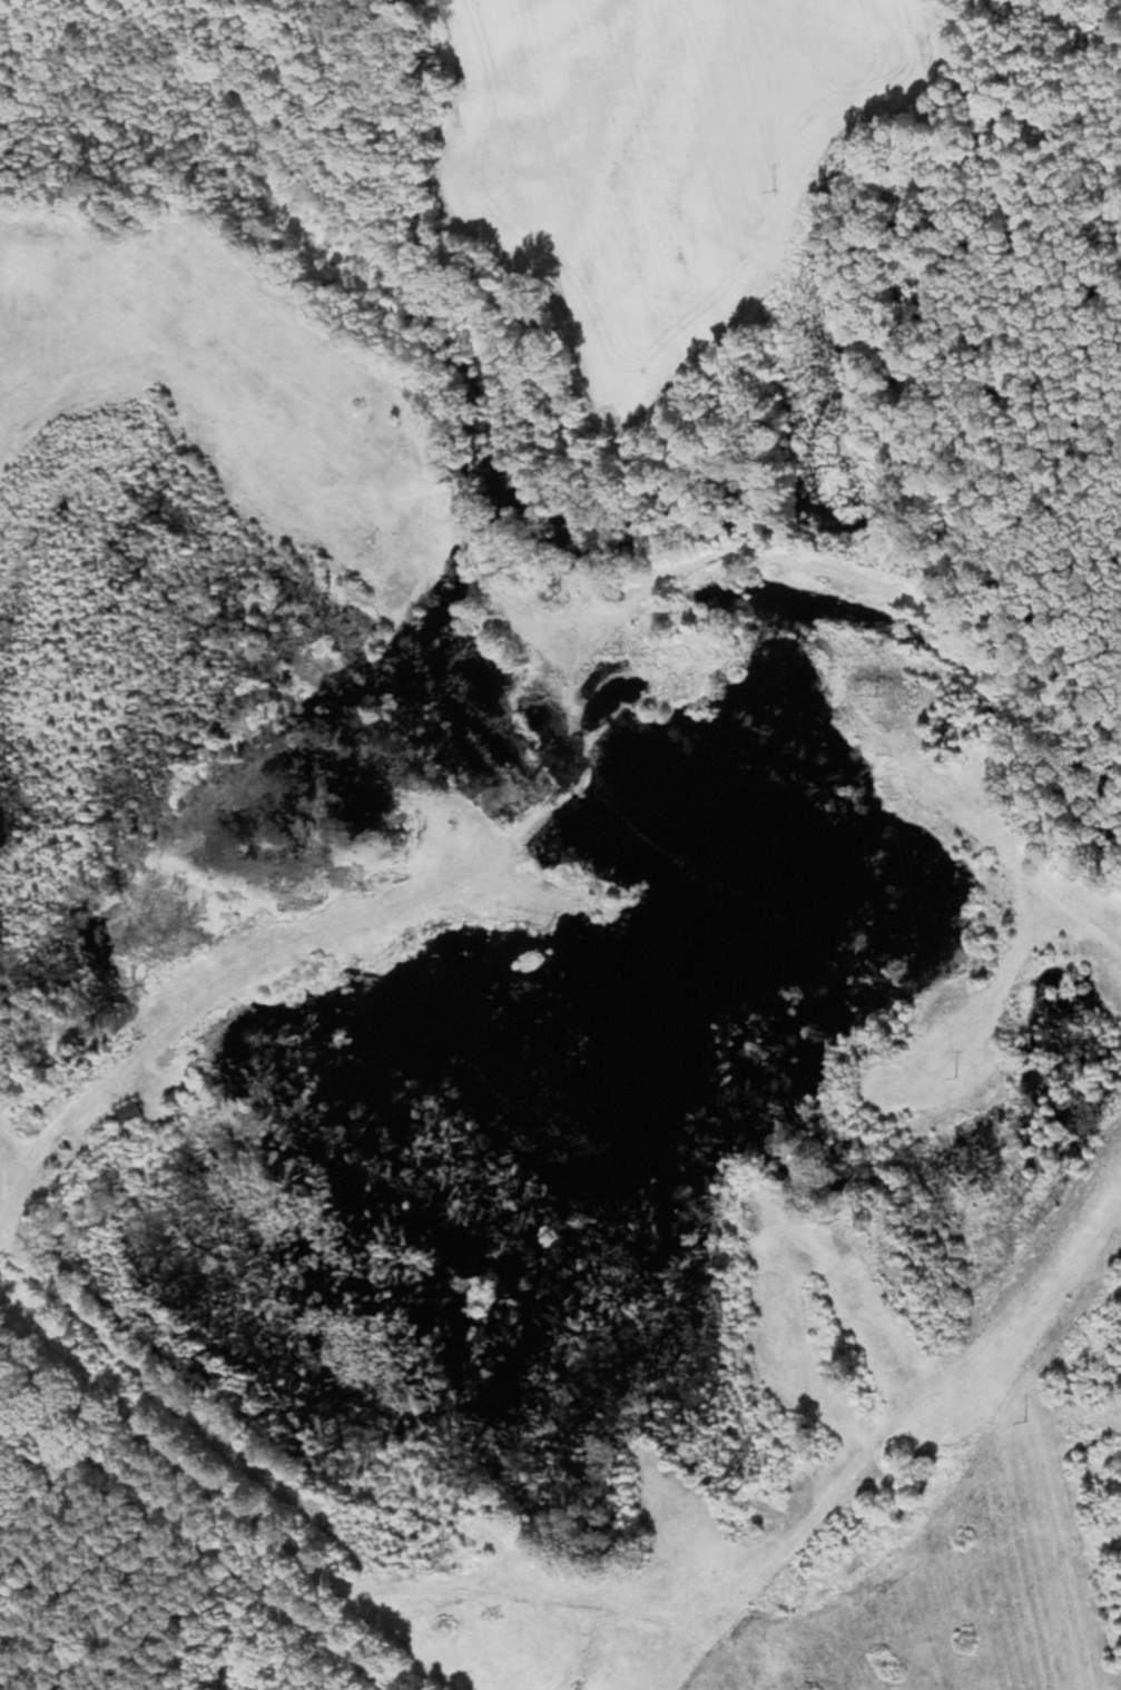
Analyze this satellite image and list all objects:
power tower: (776, 191)
power tower: (863, 677)
road: (1074, 917)
road: (222, 984)
power tower: (953, 1080)
power tower: (1024, 1421)
road: (603, 1612)

